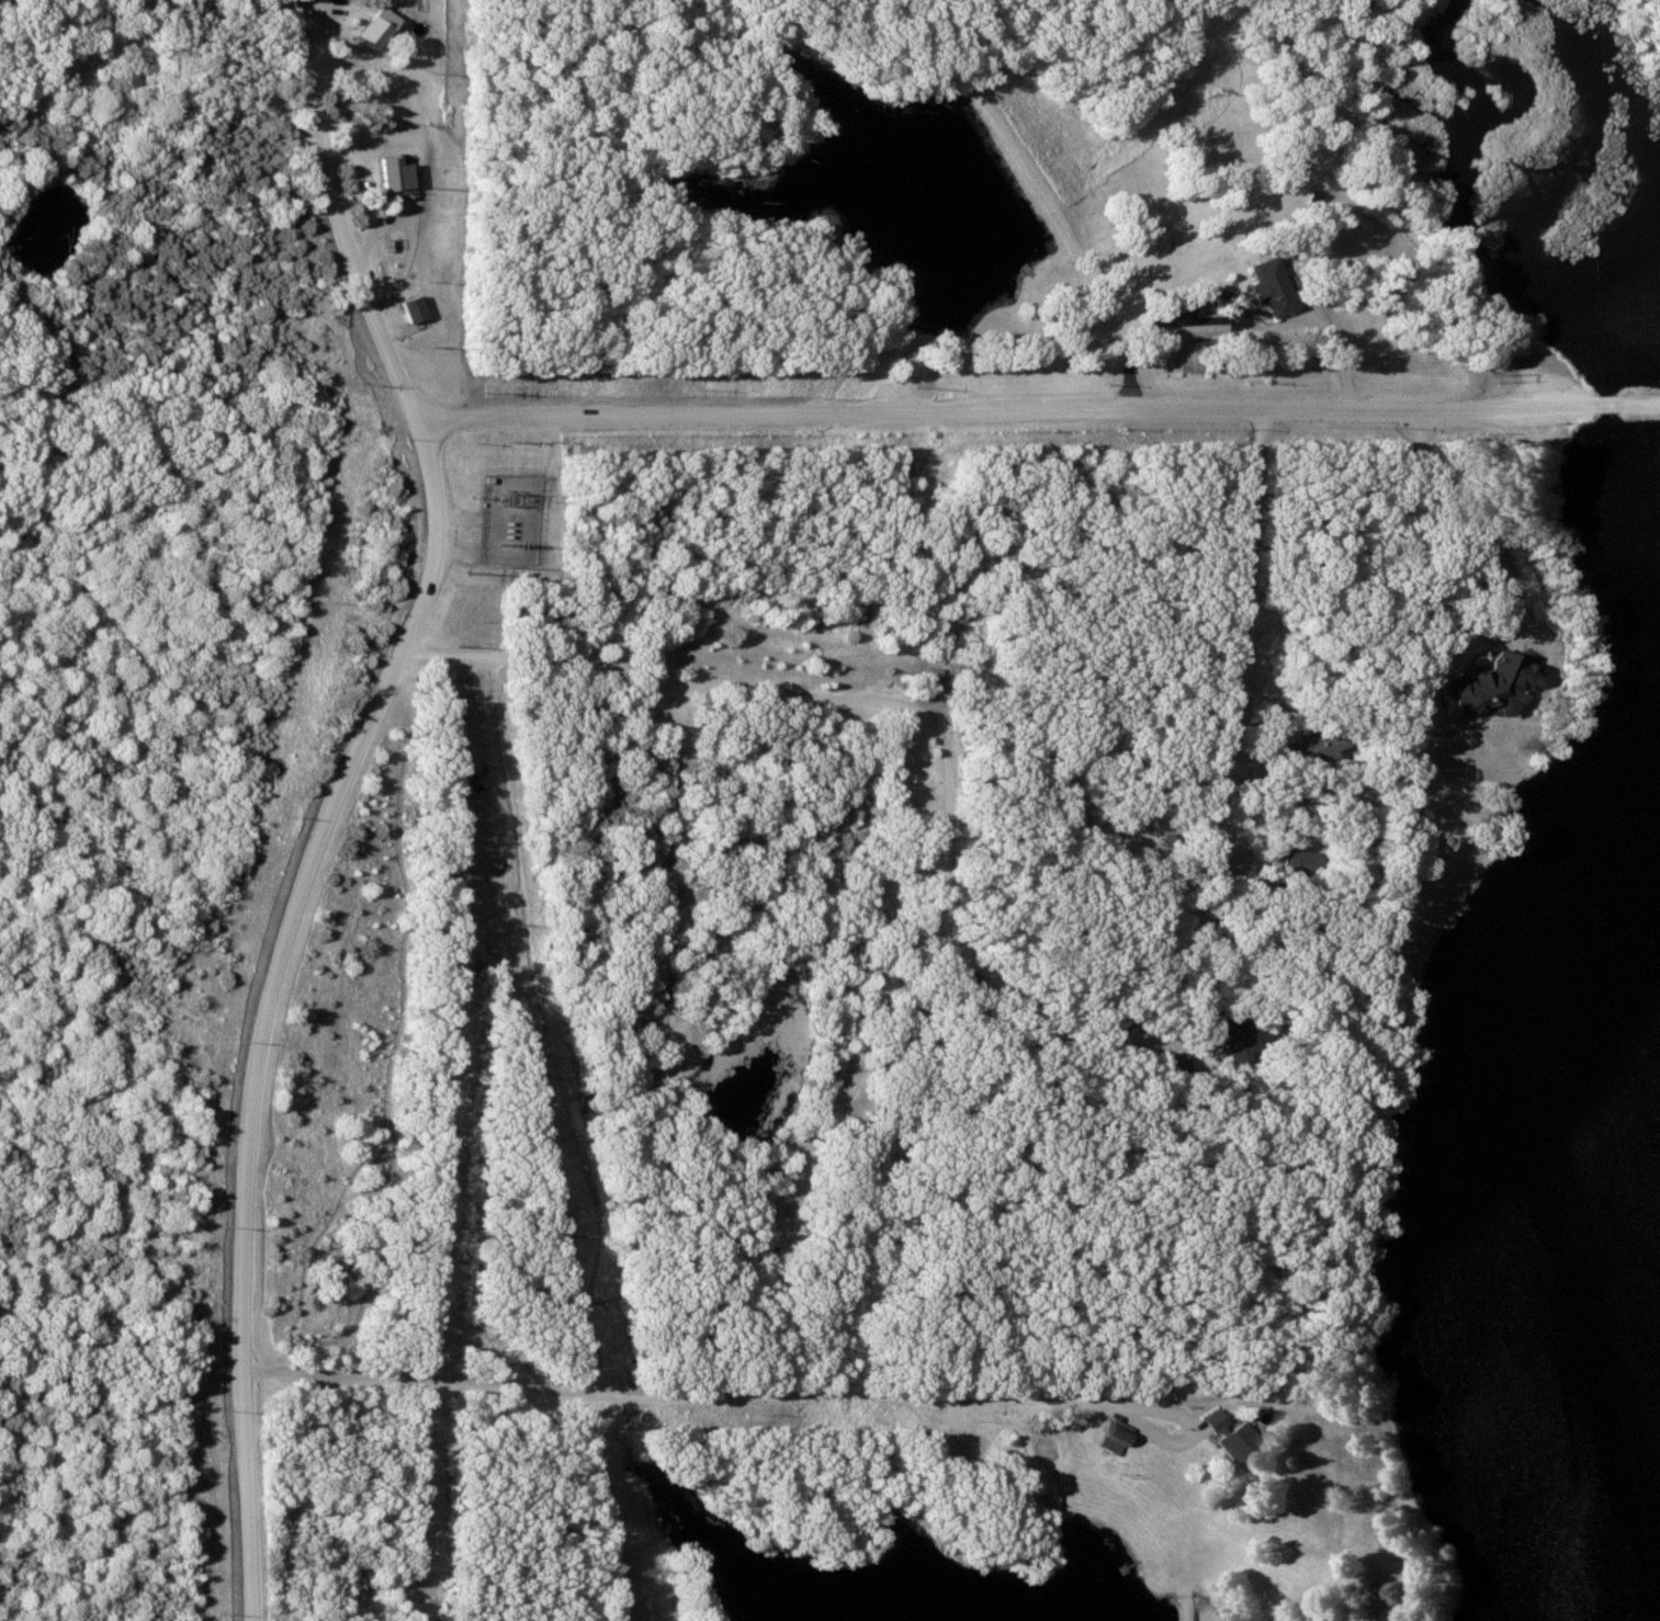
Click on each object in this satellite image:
building: (386, 174)
building: (1262, 286)
building: (408, 309)
building: (1185, 356)
road: (1036, 410)
power substation: (510, 520)
road: (1242, 631)
road: (685, 690)
building: (1308, 747)
road: (341, 796)
building: (1297, 861)
building: (1236, 1052)
park: (1038, 1074)
road: (772, 1392)
building: (1113, 1438)
building: (1235, 1441)

